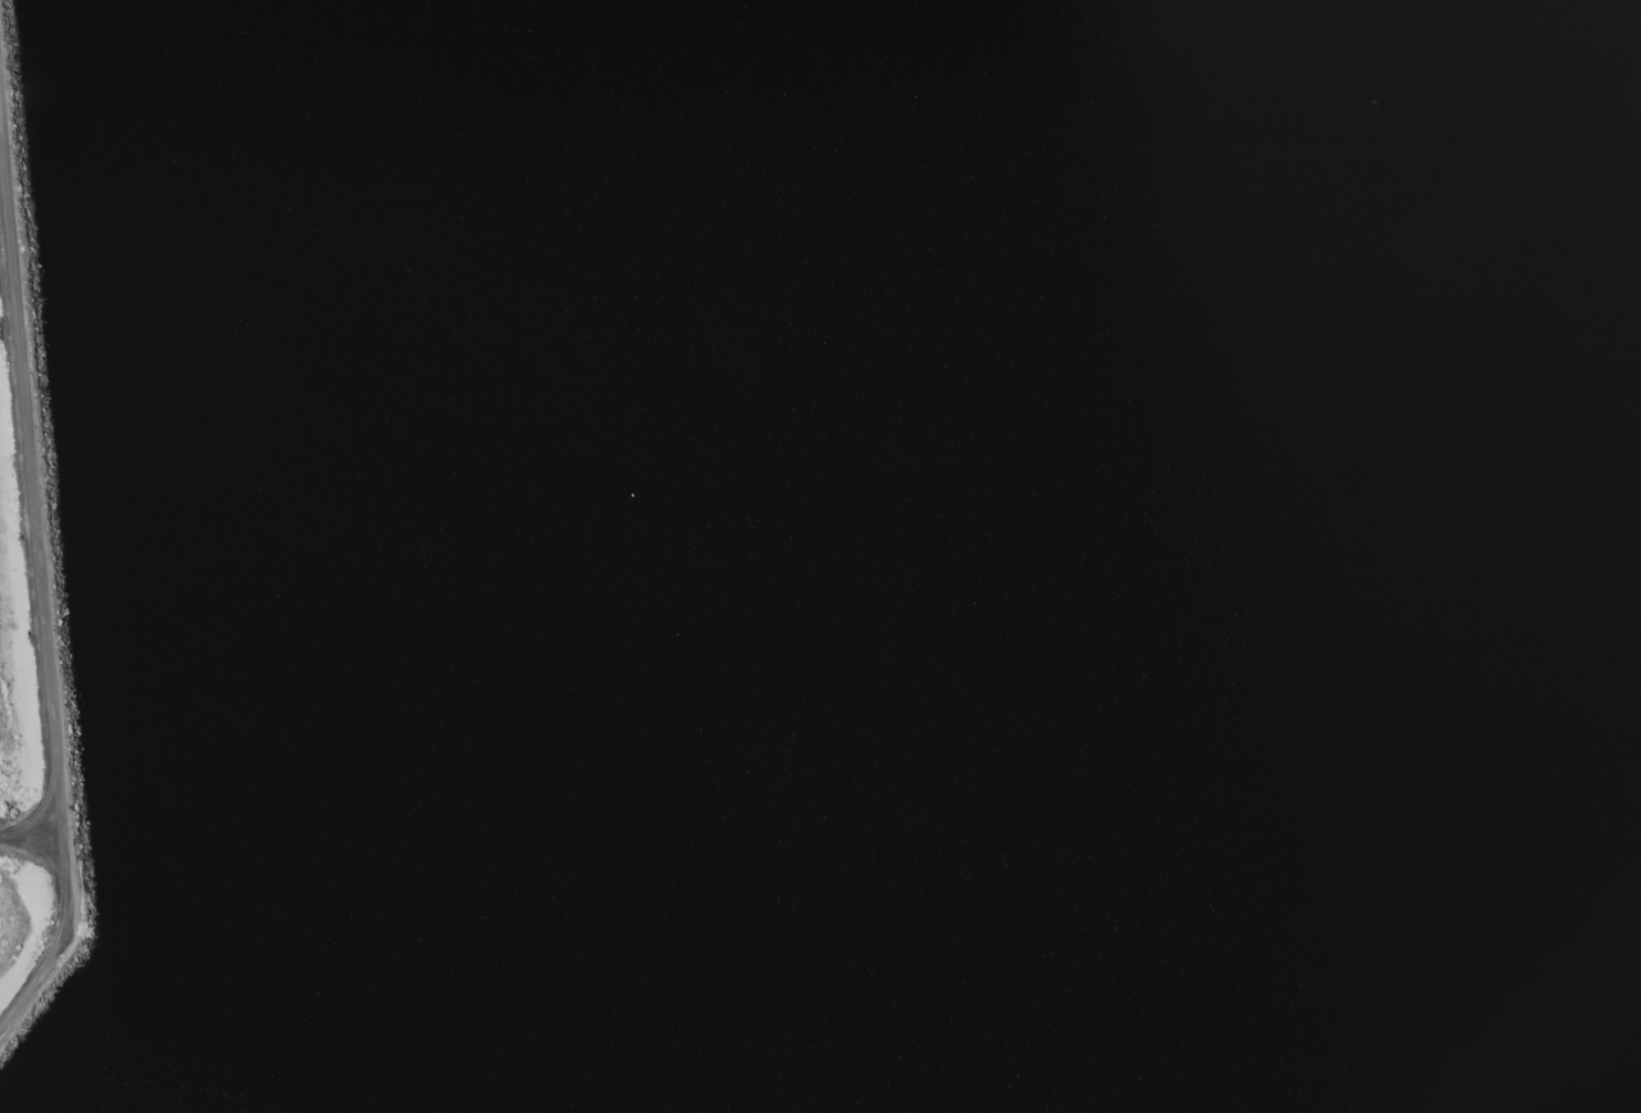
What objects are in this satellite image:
airport: (33, 630)

